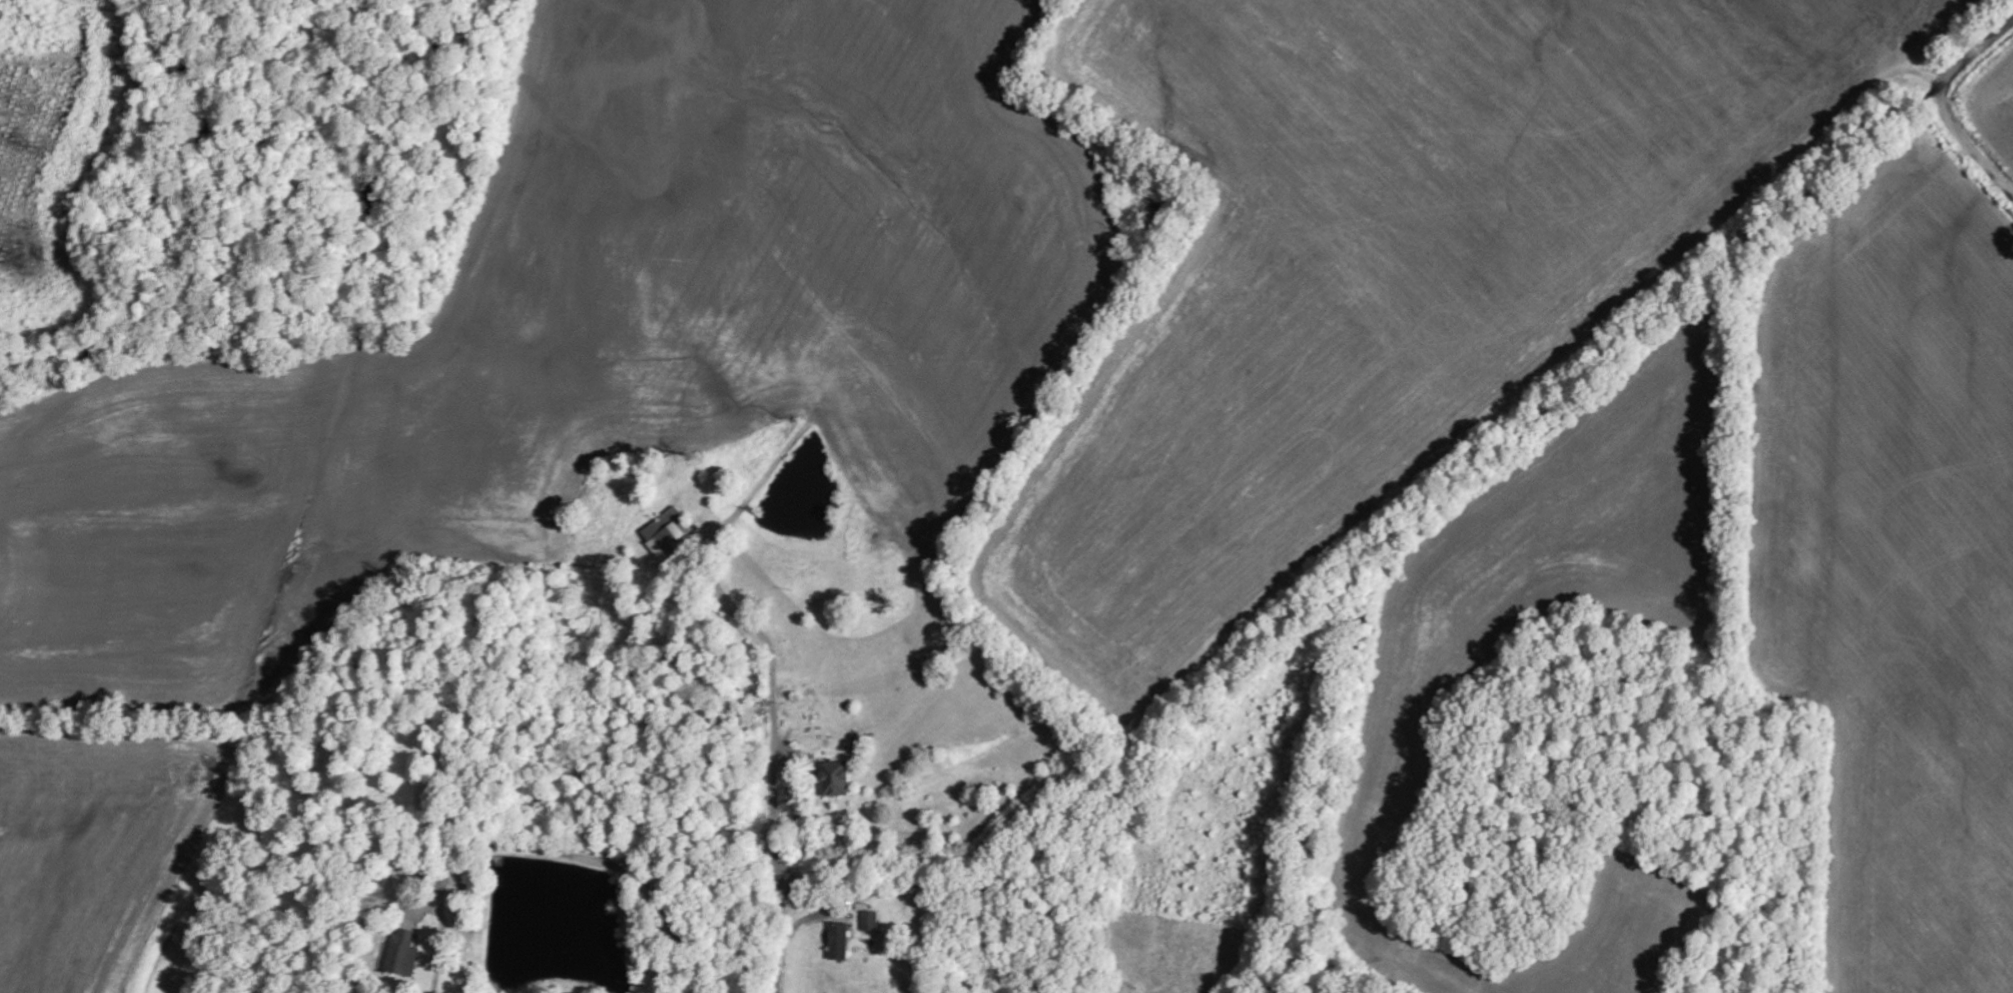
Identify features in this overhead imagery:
road: (1945, 105)
building: (668, 532)
road: (910, 541)
building: (750, 716)
building: (834, 778)
road: (806, 879)
building: (871, 920)
building: (838, 940)
building: (402, 953)

